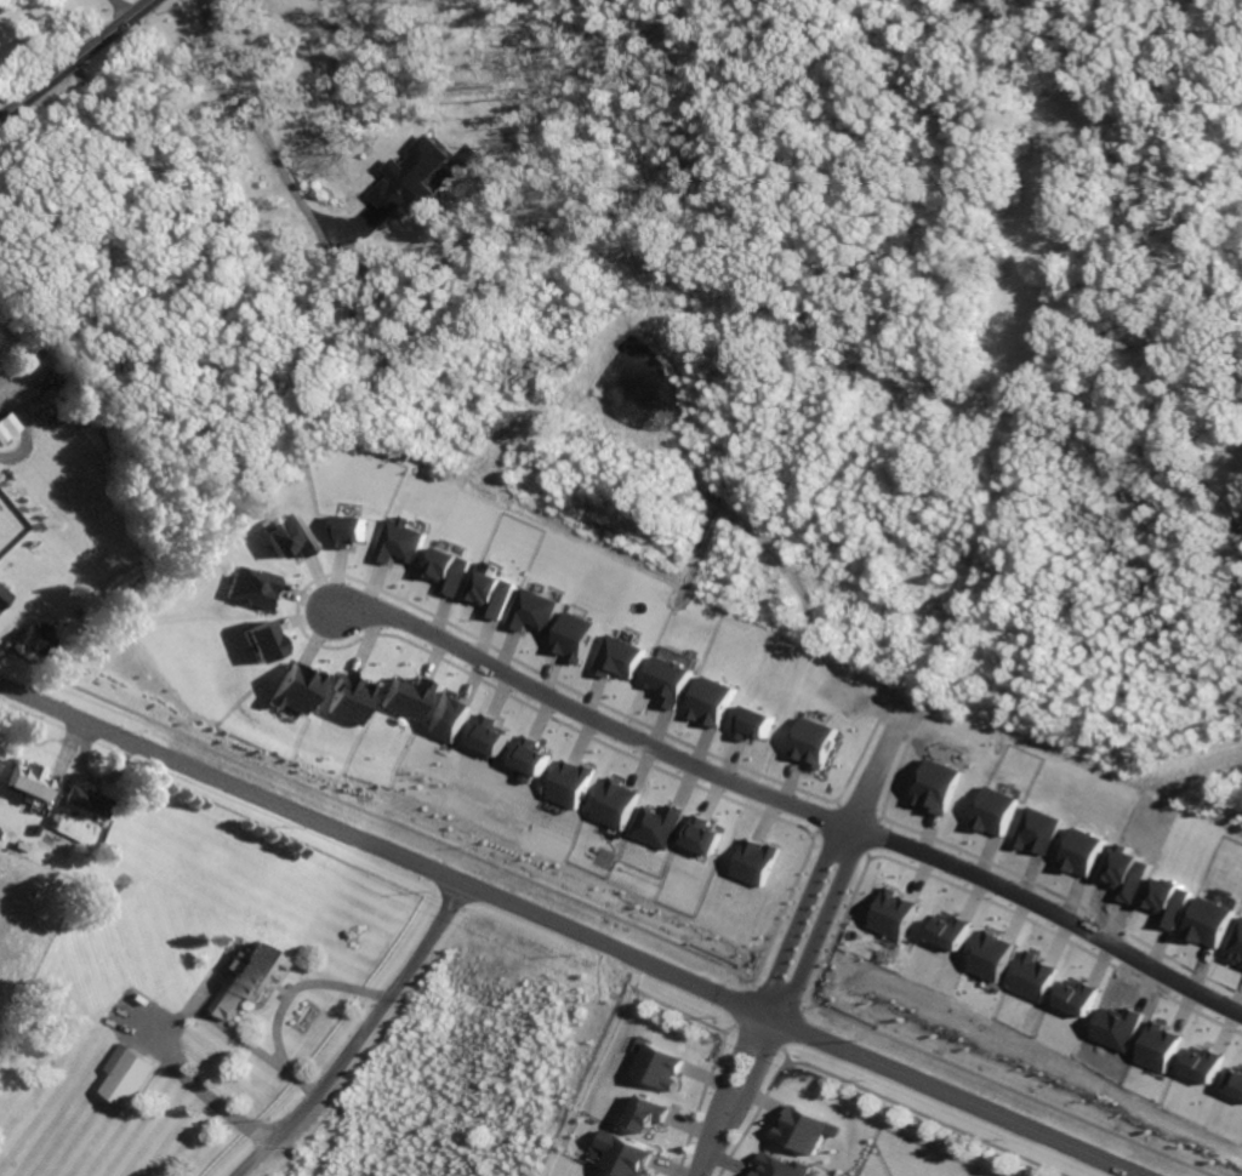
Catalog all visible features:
road: (120, 10)
road: (76, 61)
road: (261, 129)
building: (410, 178)
building: (5, 427)
building: (347, 532)
building: (286, 538)
building: (399, 542)
building: (449, 571)
building: (251, 588)
building: (492, 594)
building: (2, 599)
building: (124, 605)
building: (534, 611)
building: (576, 635)
building: (38, 641)
building: (263, 644)
building: (621, 656)
building: (670, 680)
building: (297, 687)
building: (405, 698)
building: (712, 700)
building: (348, 701)
building: (446, 718)
road: (597, 718)
building: (489, 735)
building: (815, 741)
building: (530, 758)
building: (1, 763)
building: (571, 782)
building: (33, 783)
building: (938, 784)
building: (90, 803)
building: (616, 803)
building: (996, 810)
building: (57, 821)
building: (659, 824)
building: (36, 830)
building: (703, 834)
building: (22, 847)
road: (825, 870)
road: (1048, 910)
building: (894, 913)
building: (1209, 921)
road: (569, 932)
building: (991, 955)
building: (250, 981)
road: (285, 1001)
road: (361, 1035)
road: (172, 1043)
building: (1203, 1064)
building: (659, 1066)
building: (131, 1079)
road: (728, 1097)
building: (649, 1114)
building: (803, 1129)
building: (625, 1154)
building: (779, 1166)
building: (594, 1175)

